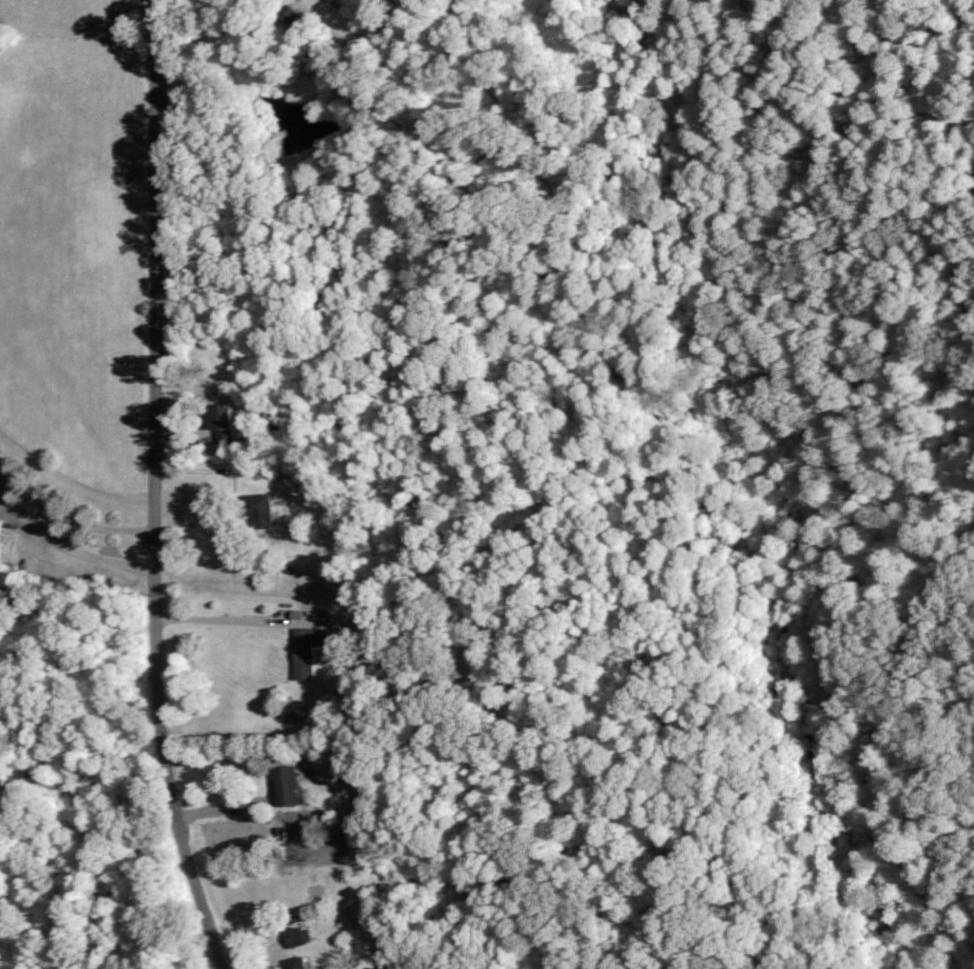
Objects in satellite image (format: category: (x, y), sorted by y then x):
building: (289, 16)
building: (221, 421)
road: (236, 467)
road: (157, 489)
building: (257, 509)
road: (72, 515)
road: (78, 553)
road: (252, 618)
building: (305, 649)
building: (284, 785)
building: (295, 936)
building: (293, 963)

